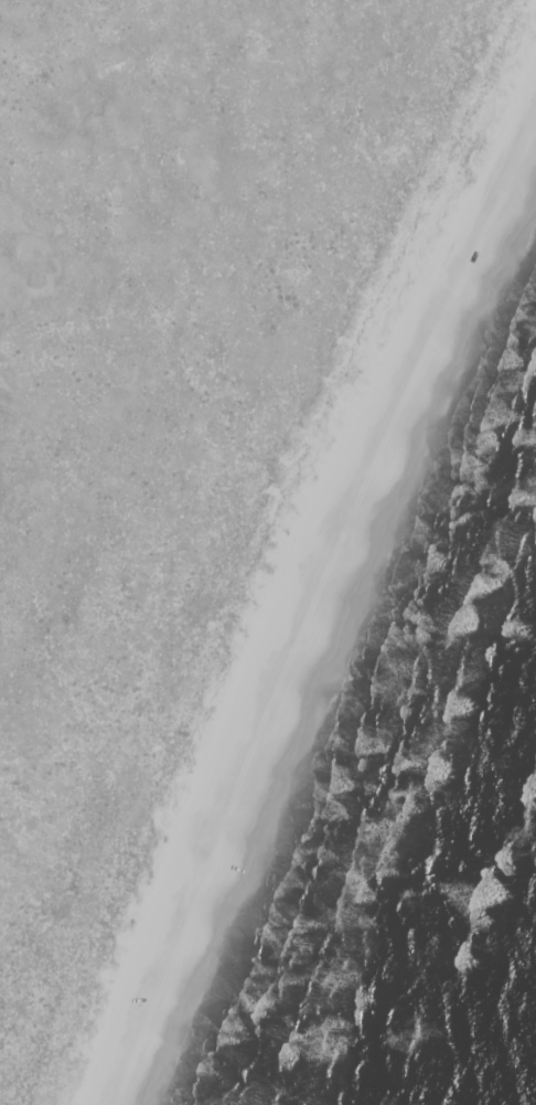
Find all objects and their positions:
park: (259, 535)
road: (297, 619)

